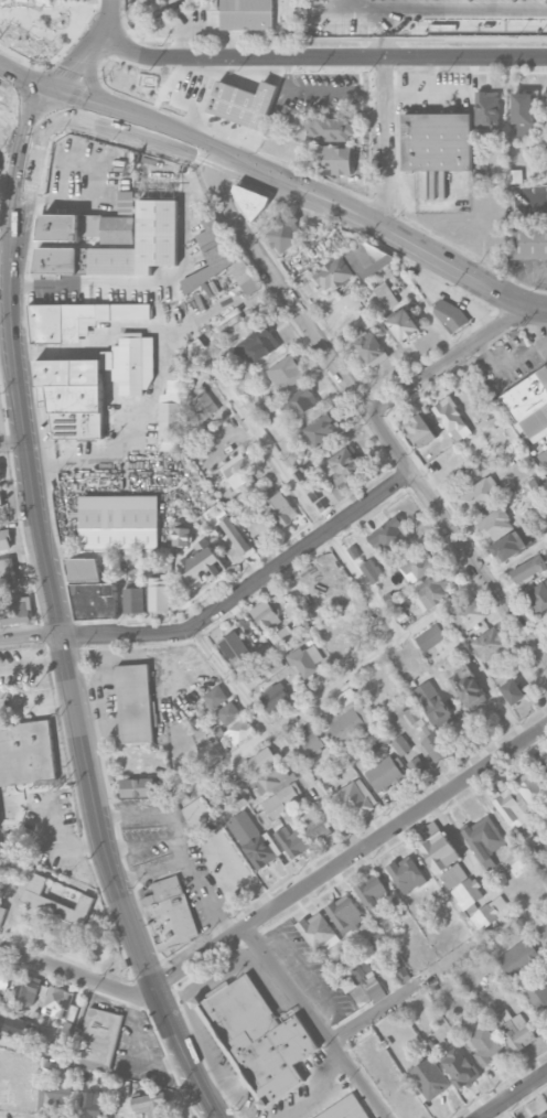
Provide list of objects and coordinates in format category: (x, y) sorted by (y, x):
road: (375, 4)
road: (452, 8)
building: (298, 12)
building: (248, 15)
road: (385, 46)
road: (90, 49)
road: (321, 56)
road: (26, 79)
building: (335, 89)
traffic signals: (54, 90)
building: (546, 94)
building: (243, 103)
building: (523, 106)
building: (487, 107)
traffic signals: (42, 111)
road: (133, 116)
building: (331, 128)
road: (103, 129)
building: (438, 140)
road: (385, 142)
building: (337, 159)
road: (24, 181)
building: (249, 198)
road: (7, 213)
road: (366, 219)
building: (157, 223)
building: (86, 227)
building: (285, 233)
building: (529, 240)
building: (211, 250)
building: (366, 258)
building: (334, 272)
building: (246, 275)
road: (127, 283)
building: (384, 294)
road: (530, 307)
building: (450, 313)
building: (74, 318)
building: (404, 322)
road: (248, 330)
building: (258, 342)
building: (372, 345)
building: (193, 352)
road: (447, 362)
parking lot: (506, 363)
building: (128, 365)
building: (286, 372)
building: (73, 395)
building: (300, 401)
building: (262, 402)
building: (529, 402)
building: (203, 405)
building: (170, 411)
road: (368, 412)
building: (451, 416)
building: (420, 426)
building: (321, 428)
road: (13, 443)
building: (544, 456)
building: (0, 466)
building: (342, 466)
building: (242, 469)
building: (0, 476)
building: (313, 488)
building: (478, 494)
building: (0, 501)
road: (304, 501)
building: (279, 509)
building: (119, 522)
building: (498, 522)
building: (388, 531)
building: (235, 535)
building: (182, 536)
building: (4, 538)
building: (506, 545)
building: (202, 562)
building: (420, 563)
building: (82, 568)
building: (528, 569)
building: (7, 570)
building: (371, 571)
building: (432, 587)
building: (0, 591)
building: (159, 592)
building: (538, 595)
building: (133, 599)
building: (94, 601)
road: (222, 606)
building: (14, 611)
building: (469, 613)
building: (266, 614)
building: (339, 615)
building: (281, 636)
building: (430, 637)
building: (490, 643)
building: (236, 649)
building: (264, 651)
building: (340, 651)
building: (307, 660)
road: (33, 663)
building: (275, 663)
road: (354, 674)
building: (468, 686)
building: (512, 689)
building: (215, 696)
building: (273, 697)
building: (135, 702)
road: (37, 703)
building: (433, 703)
road: (76, 708)
building: (228, 712)
building: (351, 722)
building: (239, 730)
road: (277, 739)
building: (313, 743)
building: (400, 745)
building: (436, 745)
building: (211, 751)
building: (25, 752)
building: (262, 760)
building: (546, 762)
building: (417, 766)
building: (384, 773)
building: (273, 775)
building: (283, 783)
building: (138, 786)
building: (532, 786)
building: (354, 799)
building: (280, 800)
building: (514, 806)
building: (315, 824)
road: (55, 826)
building: (251, 838)
building: (292, 840)
building: (483, 840)
road: (142, 843)
road: (68, 845)
road: (181, 845)
building: (441, 851)
road: (352, 857)
road: (151, 873)
building: (229, 873)
building: (406, 873)
building: (468, 892)
building: (374, 894)
building: (54, 902)
building: (2, 913)
building: (169, 913)
building: (345, 913)
building: (483, 916)
building: (543, 927)
building: (315, 929)
building: (519, 958)
building: (395, 964)
road: (304, 972)
building: (3, 976)
road: (81, 977)
building: (373, 987)
building: (29, 988)
building: (536, 996)
building: (57, 1001)
road: (376, 1013)
road: (317, 1022)
building: (12, 1025)
building: (514, 1028)
building: (98, 1034)
building: (258, 1039)
building: (486, 1044)
road: (130, 1056)
building: (459, 1066)
building: (60, 1071)
building: (433, 1083)
road: (317, 1094)
road: (514, 1096)
building: (57, 1097)
building: (151, 1103)
building: (92, 1104)
building: (345, 1109)
building: (545, 1116)

